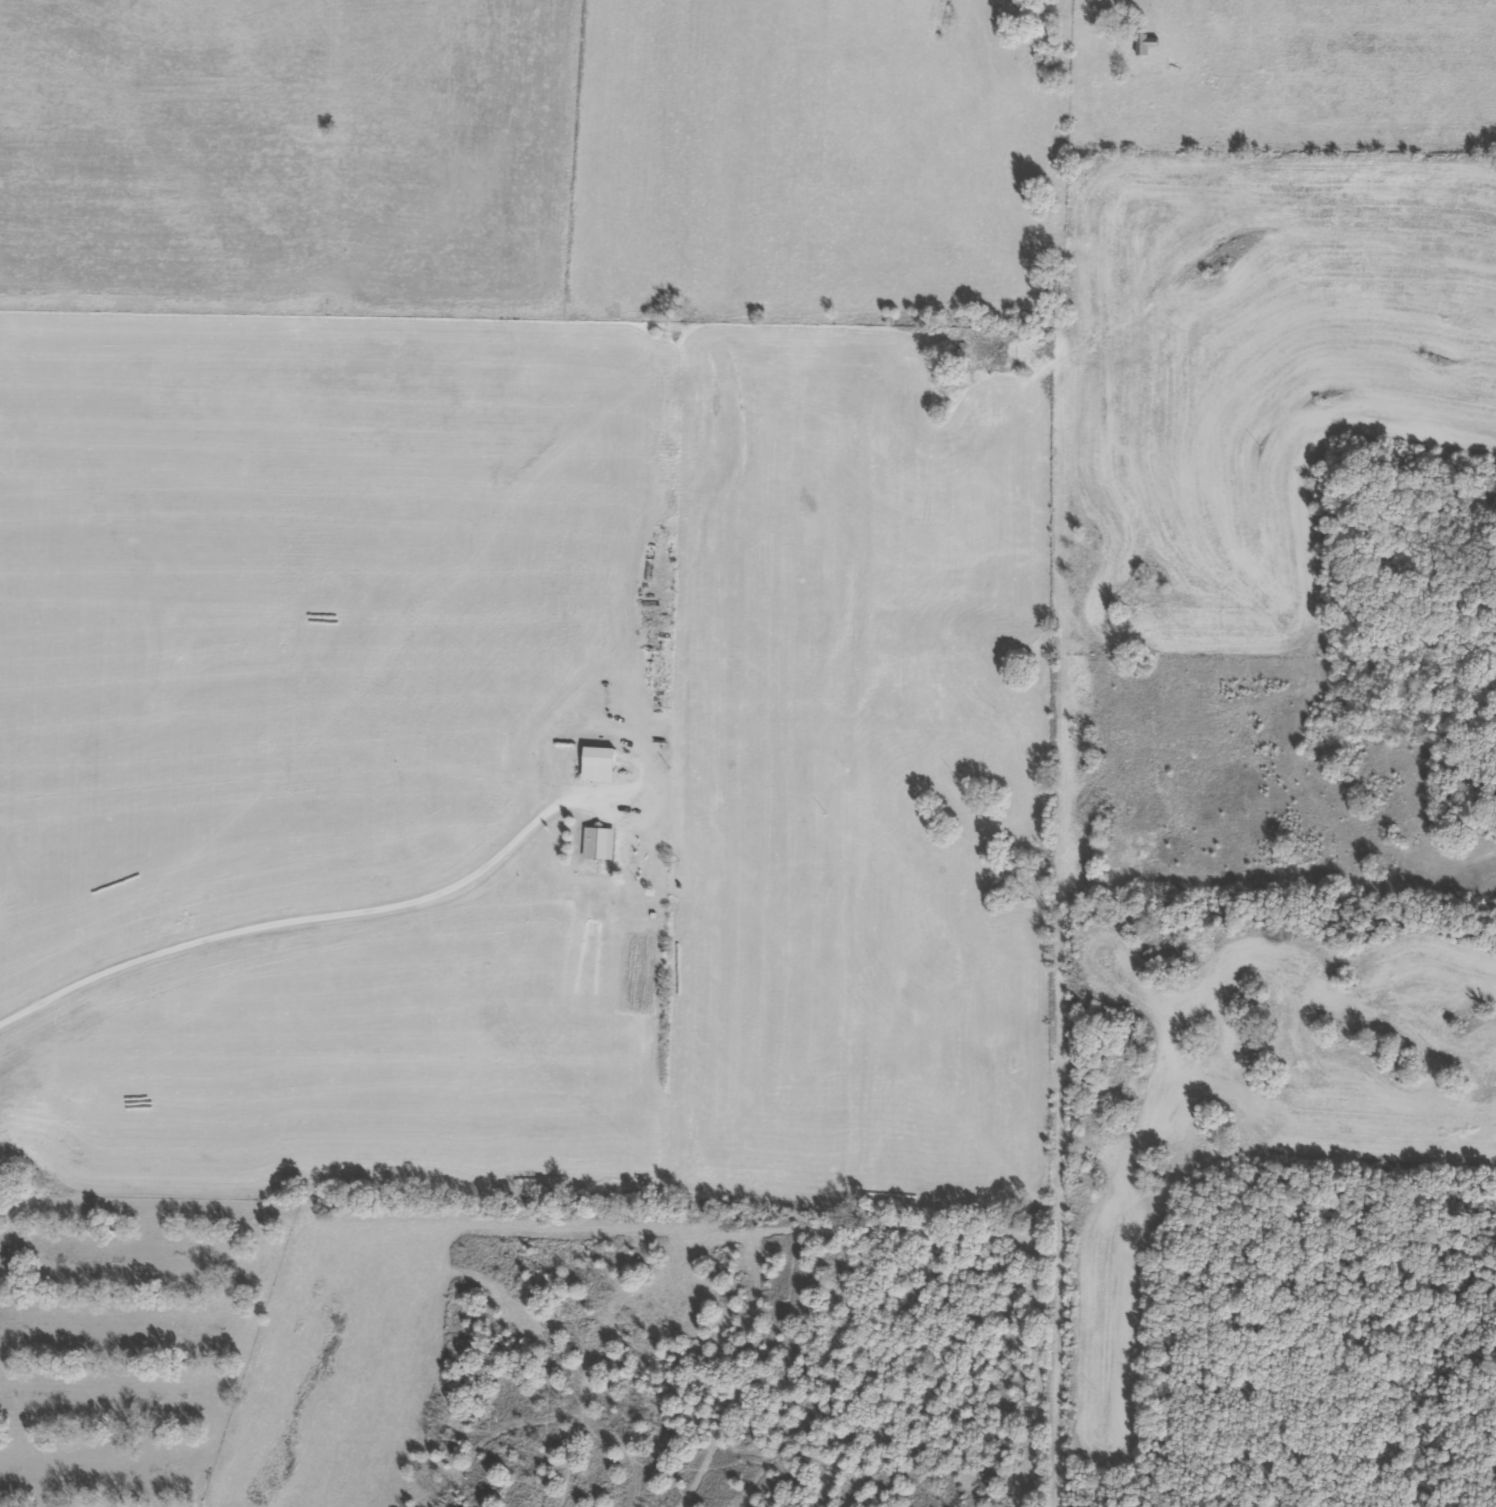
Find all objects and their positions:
building: (1147, 42)
road: (1415, 199)
building: (600, 763)
building: (599, 842)

